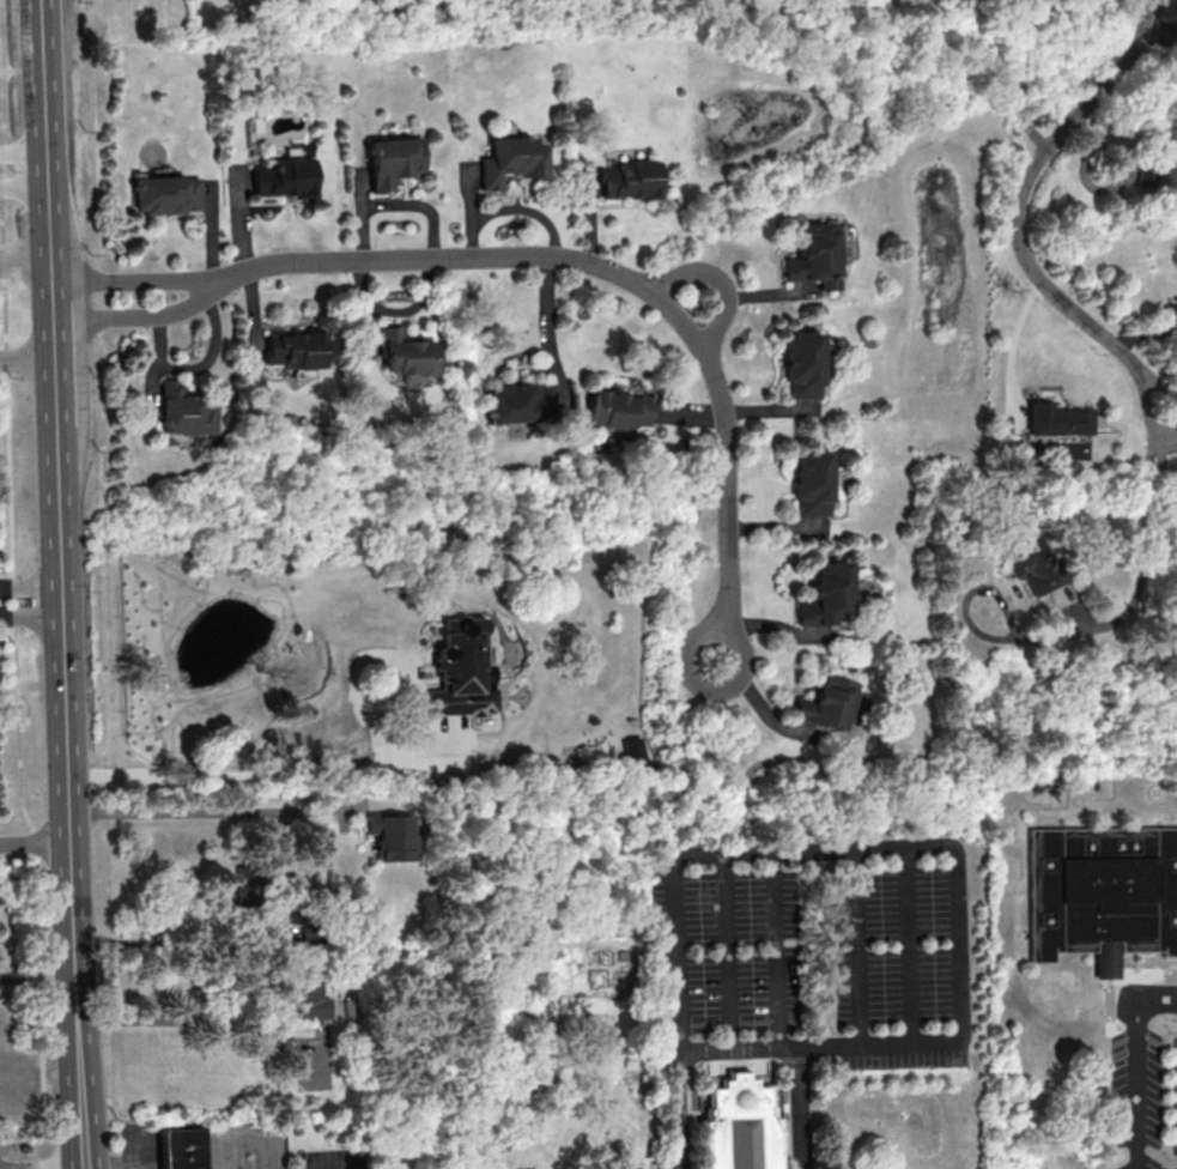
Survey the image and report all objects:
building: (510, 159)
building: (393, 160)
road: (22, 162)
building: (283, 177)
road: (16, 178)
building: (627, 180)
building: (165, 194)
road: (1017, 211)
building: (815, 255)
road: (96, 256)
road: (26, 267)
road: (153, 278)
road: (714, 283)
road: (647, 291)
road: (159, 313)
road: (546, 326)
road: (1014, 340)
building: (292, 349)
building: (404, 352)
road: (26, 357)
building: (801, 365)
building: (518, 402)
building: (619, 408)
building: (183, 410)
building: (1056, 419)
road: (55, 420)
road: (1169, 424)
road: (1164, 467)
building: (813, 483)
road: (1141, 526)
building: (1032, 563)
road: (30, 587)
building: (827, 594)
road: (31, 616)
building: (461, 668)
road: (16, 685)
building: (826, 703)
building: (632, 750)
road: (358, 768)
road: (194, 813)
building: (389, 835)
road: (35, 843)
road: (903, 843)
building: (1102, 894)
road: (779, 929)
road: (727, 931)
road: (910, 940)
road: (857, 941)
road: (159, 949)
road: (37, 987)
building: (309, 999)
road: (77, 1005)
road: (744, 1013)
road: (170, 1022)
road: (738, 1042)
road: (1132, 1062)
building: (736, 1127)
road: (231, 1149)
building: (182, 1150)
building: (620, 1168)

